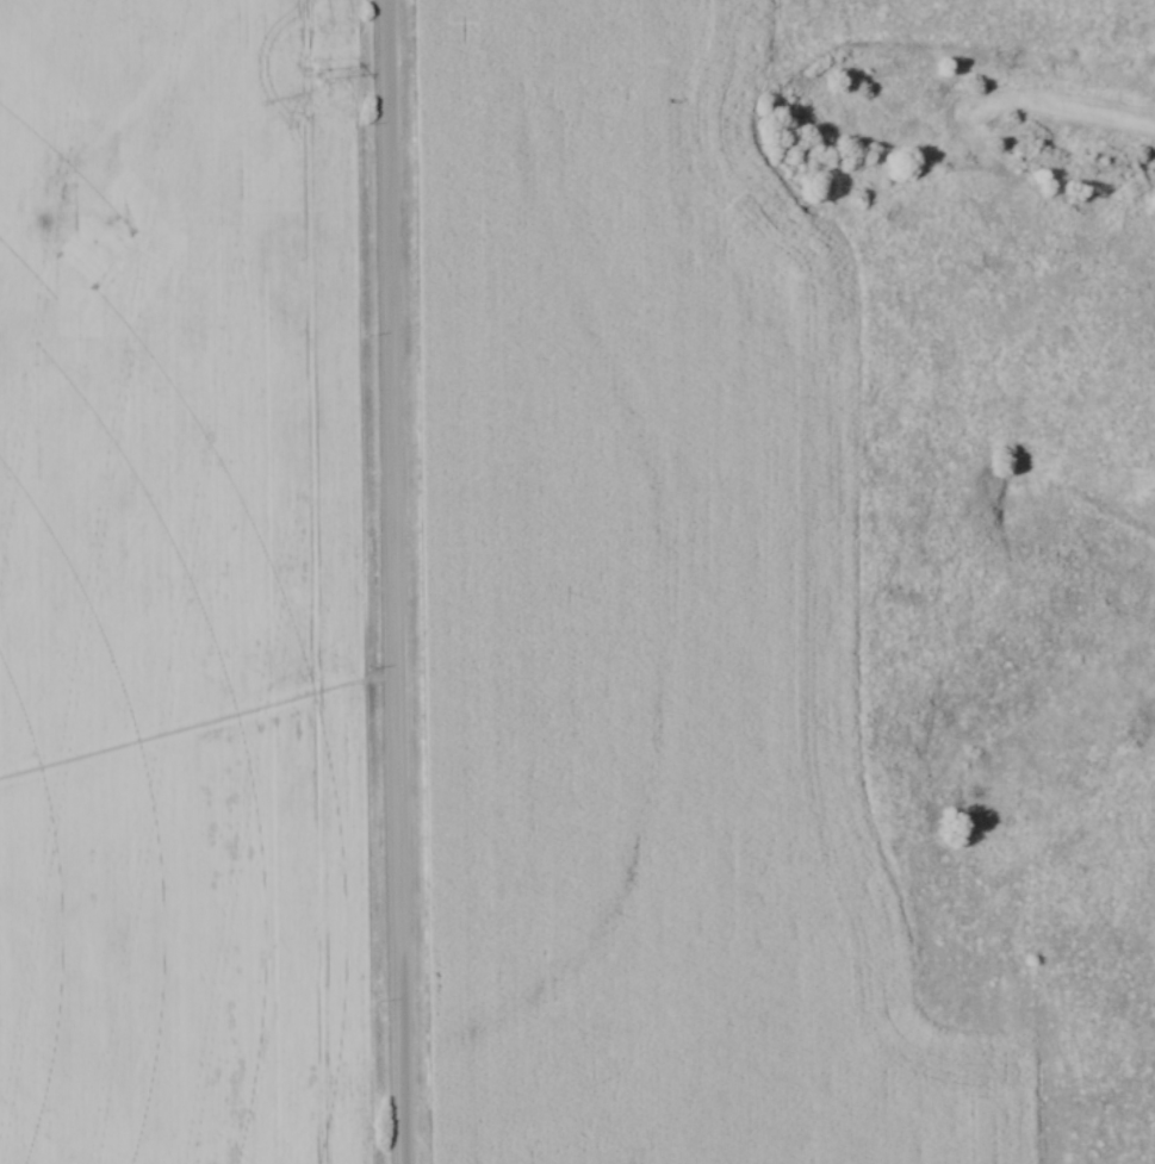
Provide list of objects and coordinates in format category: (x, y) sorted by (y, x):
power tower: (323, 76)
road: (390, 581)

